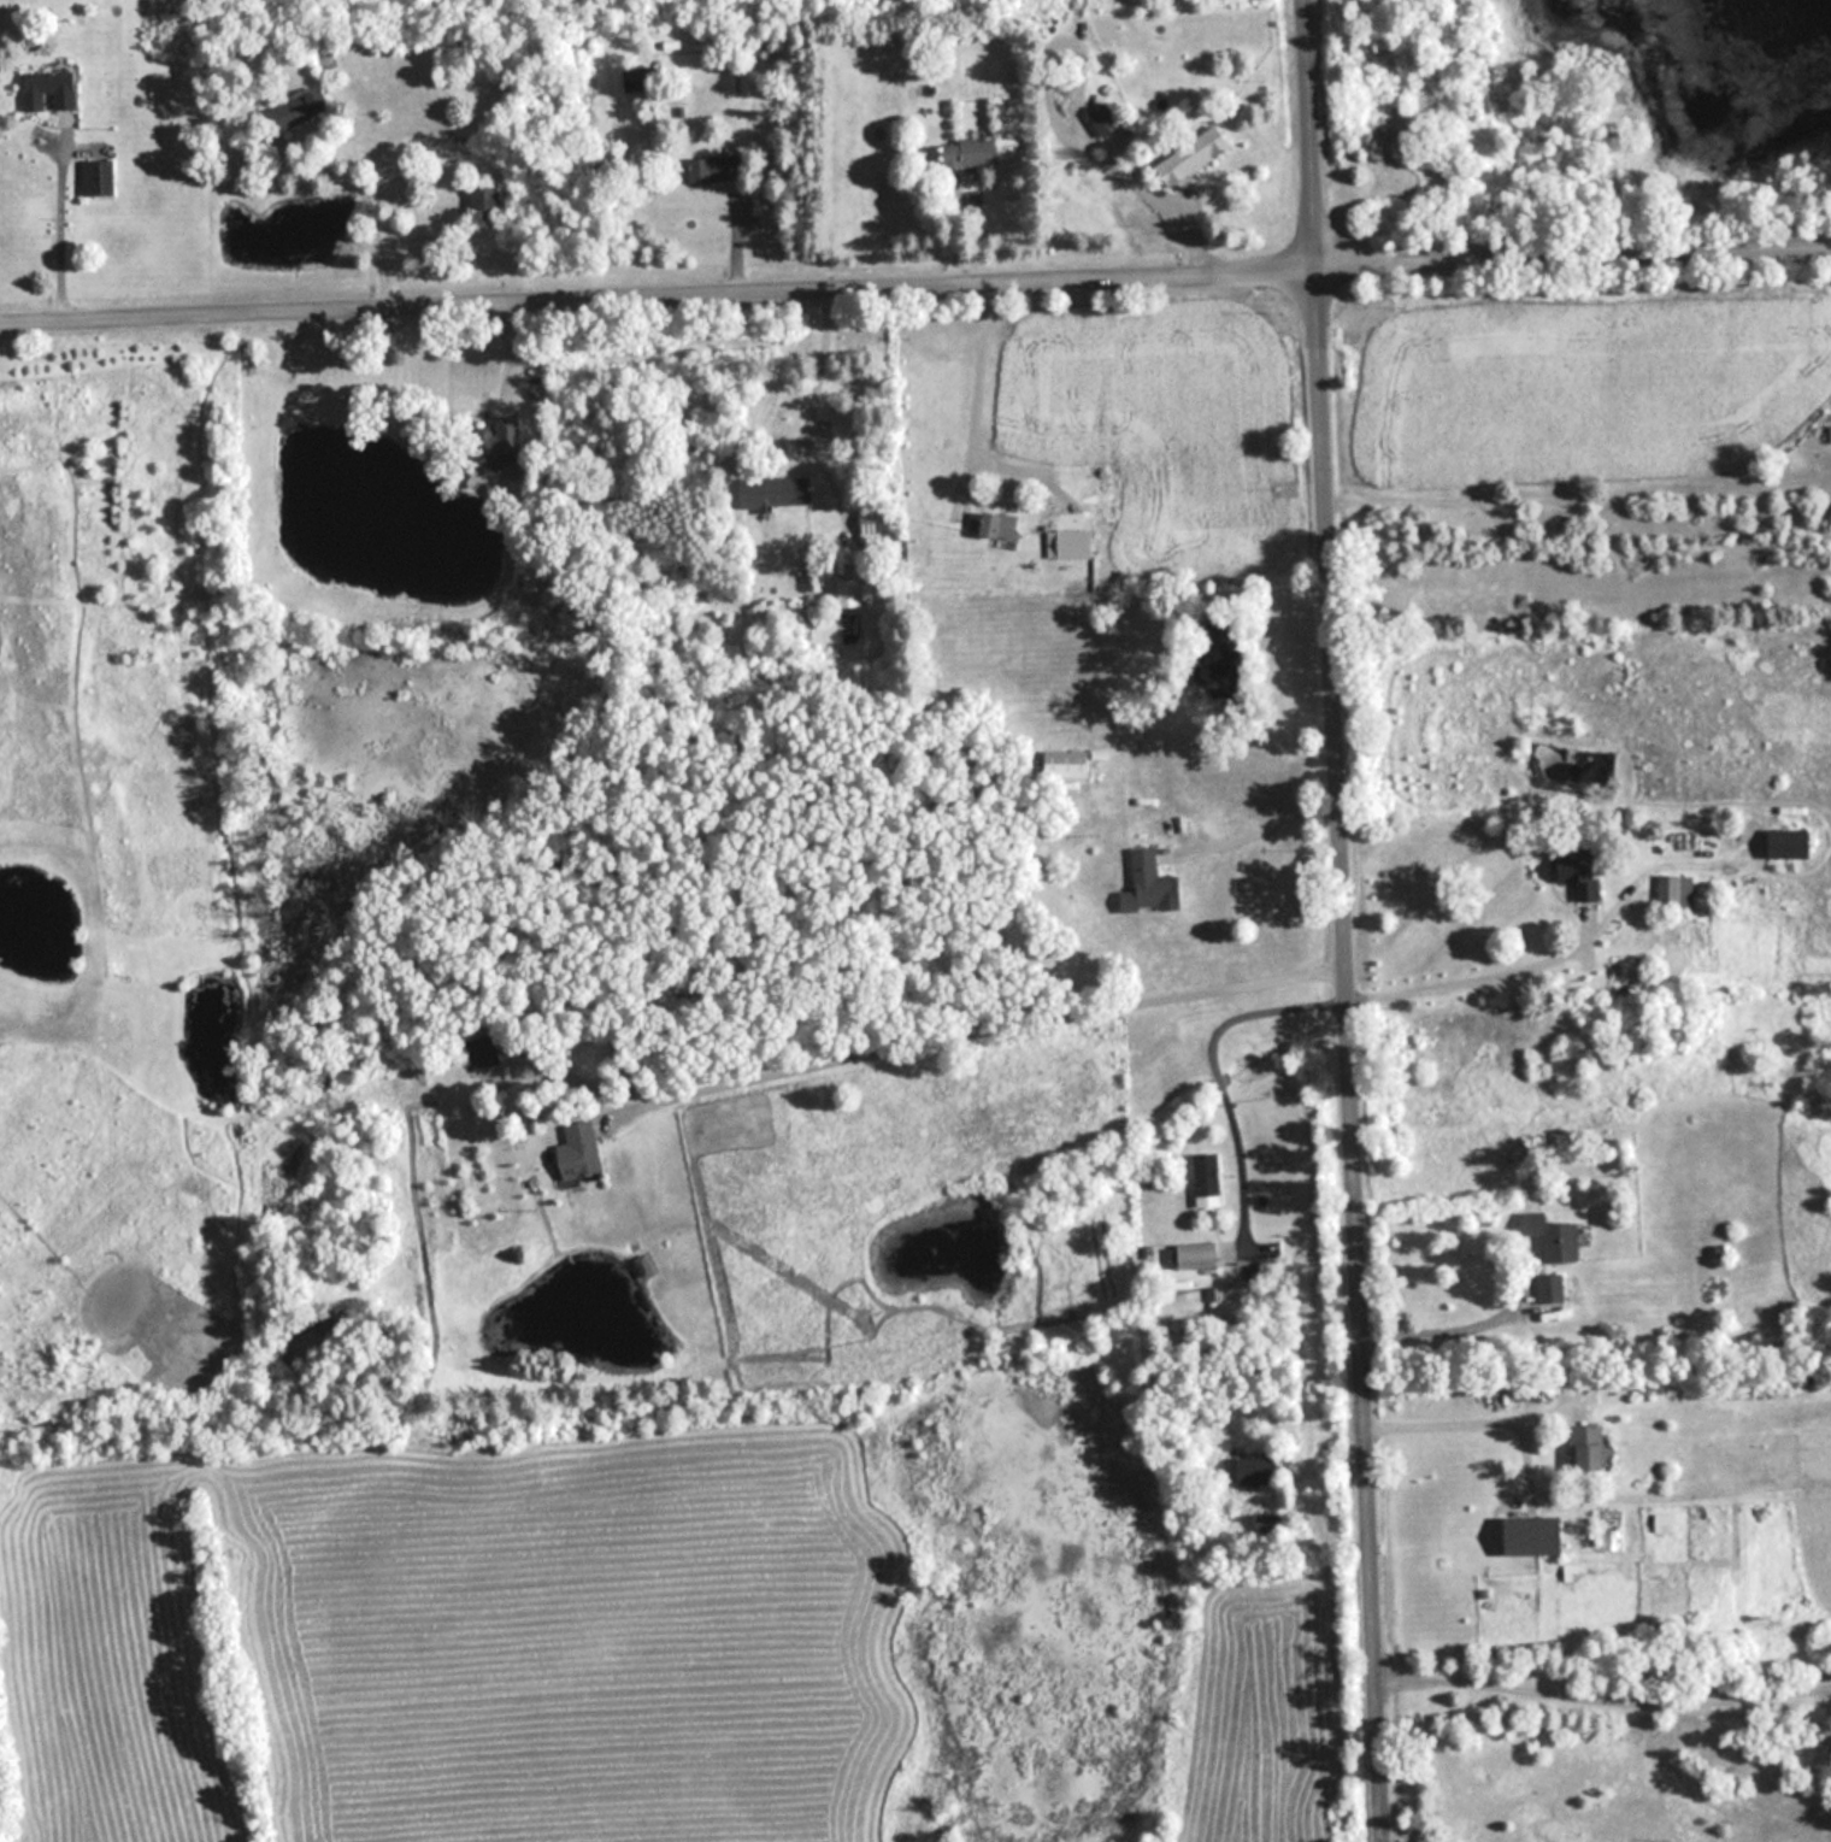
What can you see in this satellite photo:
building: (641, 78)
building: (51, 90)
building: (298, 111)
building: (1106, 120)
building: (969, 153)
building: (1194, 154)
building: (719, 167)
building: (100, 178)
building: (479, 201)
road: (63, 219)
road: (914, 271)
road: (823, 352)
road: (979, 370)
building: (1830, 434)
building: (504, 442)
building: (777, 492)
building: (1002, 526)
building: (849, 593)
building: (1066, 764)
road: (1267, 817)
building: (1792, 842)
building: (1579, 869)
building: (1149, 884)
building: (1677, 889)
road: (1343, 920)
road: (1470, 975)
road: (993, 1032)
building: (481, 1053)
road: (1208, 1064)
building: (582, 1152)
building: (1553, 1240)
building: (1201, 1254)
building: (1550, 1288)
road: (1436, 1318)
road: (1447, 1420)
building: (1591, 1447)
building: (1258, 1471)
building: (1539, 1536)
road: (1602, 1697)

